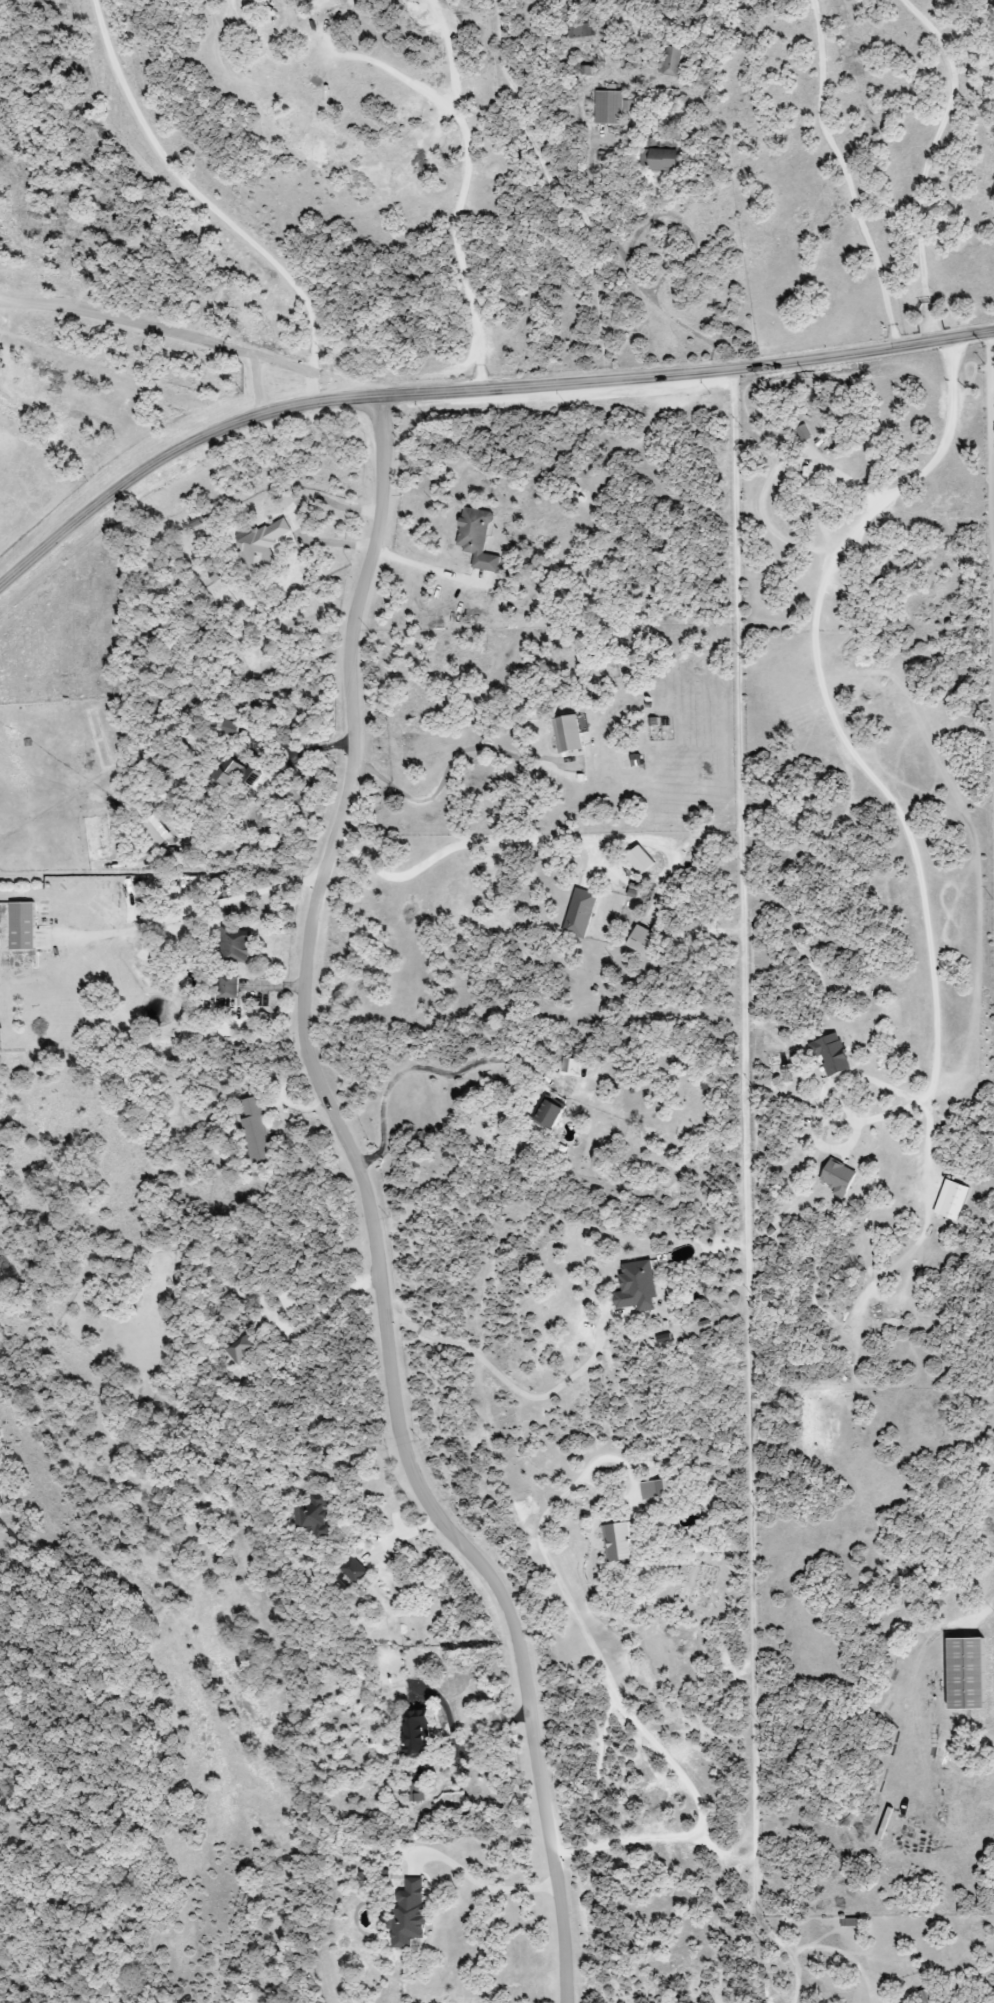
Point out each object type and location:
building: (293, 0)
building: (579, 31)
building: (671, 61)
building: (612, 108)
building: (660, 160)
road: (927, 161)
road: (846, 173)
road: (461, 189)
road: (217, 217)
road: (626, 250)
road: (156, 328)
road: (993, 364)
road: (469, 390)
building: (477, 539)
road: (324, 544)
building: (261, 546)
road: (431, 570)
road: (822, 695)
park: (853, 717)
building: (228, 728)
building: (567, 734)
road: (285, 769)
building: (235, 774)
road: (458, 840)
building: (640, 859)
road: (196, 910)
building: (580, 913)
building: (22, 926)
building: (643, 940)
building: (235, 944)
building: (227, 987)
building: (832, 1055)
road: (837, 1084)
building: (548, 1115)
building: (255, 1132)
road: (928, 1151)
building: (837, 1178)
building: (951, 1200)
road: (371, 1208)
road: (751, 1213)
building: (636, 1287)
road: (328, 1307)
building: (243, 1350)
road: (510, 1385)
building: (657, 1490)
building: (314, 1517)
building: (619, 1542)
building: (354, 1570)
building: (966, 1674)
road: (625, 1717)
building: (414, 1735)
road: (465, 1747)
building: (417, 1792)
road: (481, 1886)
building: (409, 1913)
building: (925, 1996)

